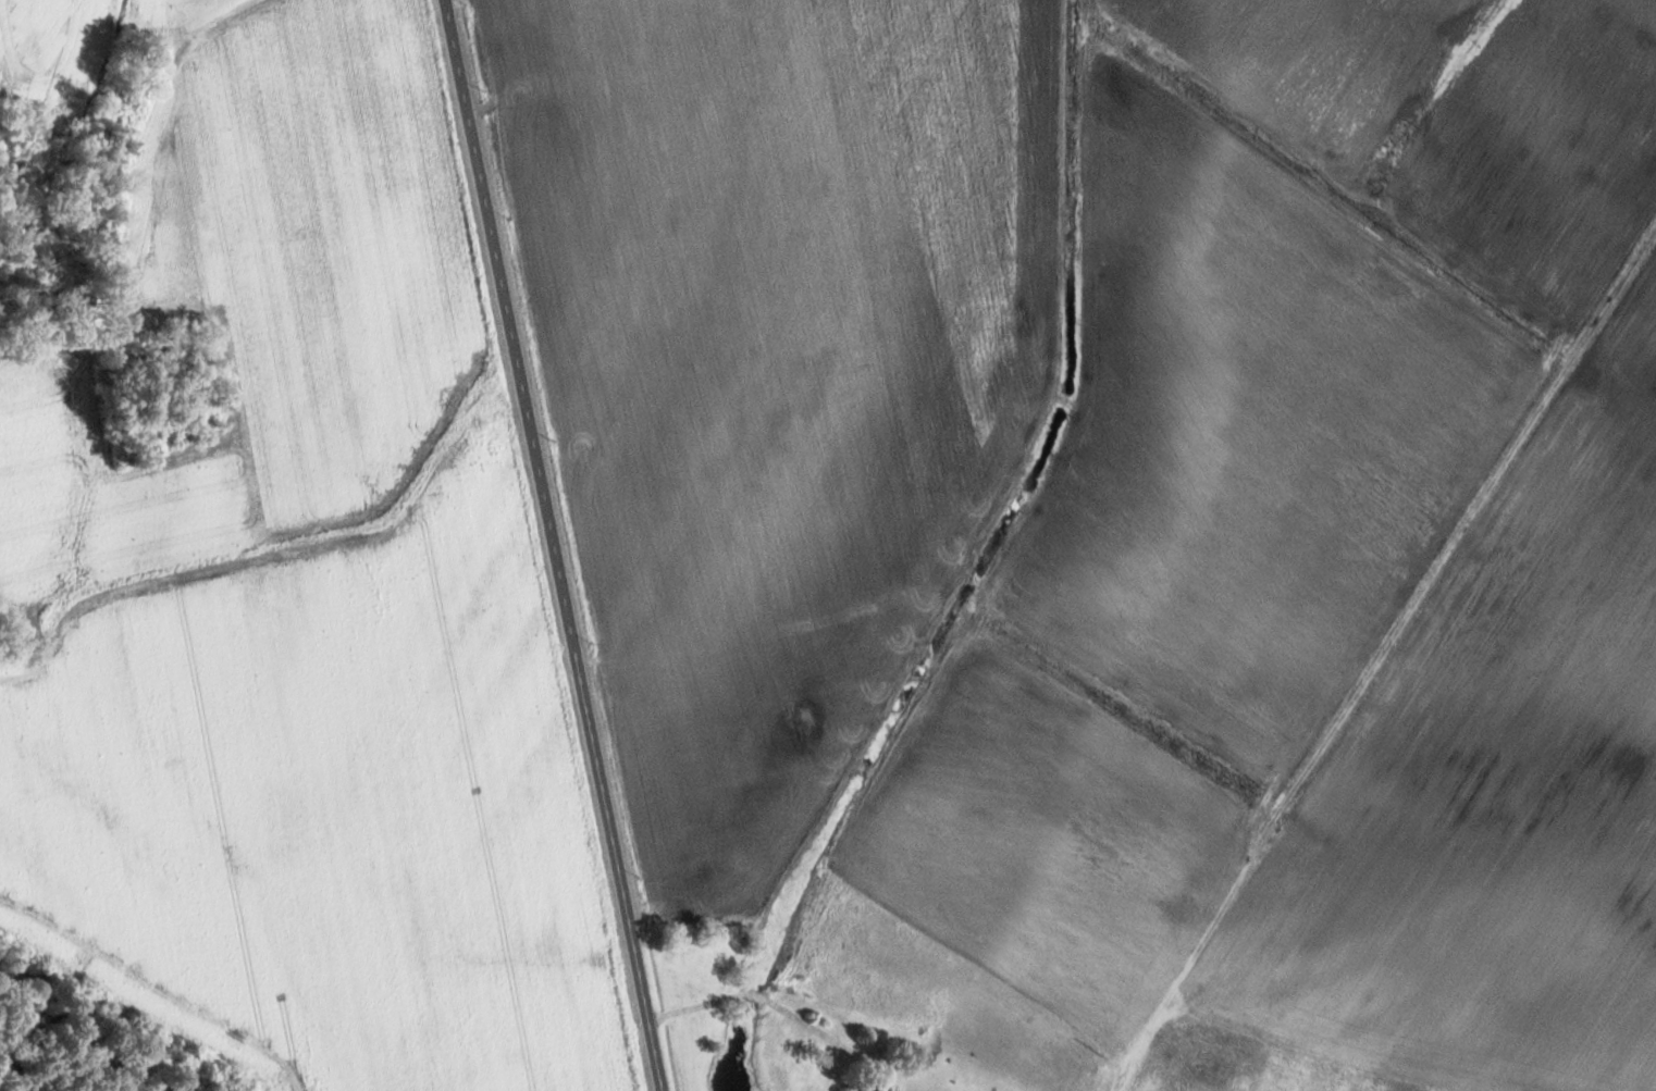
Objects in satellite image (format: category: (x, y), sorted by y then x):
road: (554, 545)
building: (872, 1086)

